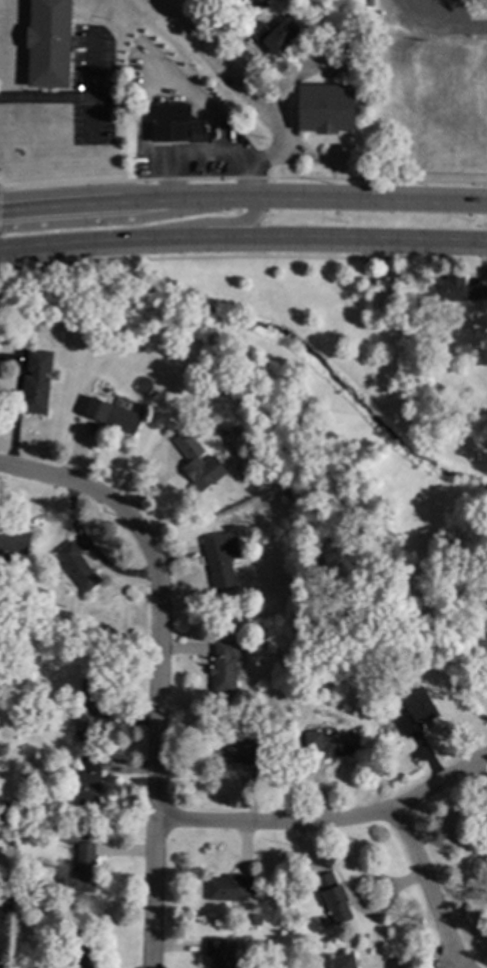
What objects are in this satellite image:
building: (258, 3)
road: (467, 19)
road: (431, 32)
building: (273, 35)
building: (47, 44)
road: (224, 70)
parking lot: (91, 86)
road: (91, 86)
road: (45, 98)
road: (193, 98)
building: (326, 109)
building: (174, 124)
road: (190, 158)
road: (251, 162)
road: (243, 178)
road: (243, 200)
road: (200, 223)
road: (243, 239)
building: (368, 288)
building: (456, 290)
building: (74, 313)
building: (108, 335)
building: (36, 383)
building: (117, 418)
park: (320, 419)
building: (196, 465)
building: (286, 495)
building: (14, 541)
building: (221, 559)
building: (77, 566)
building: (485, 596)
building: (482, 652)
building: (225, 666)
road: (157, 667)
building: (9, 668)
building: (88, 702)
building: (416, 712)
building: (332, 744)
building: (238, 751)
building: (89, 782)
road: (326, 824)
building: (485, 827)
building: (68, 836)
building: (81, 870)
building: (230, 888)
building: (304, 888)
road: (428, 889)
building: (334, 897)
building: (8, 908)
building: (23, 919)
building: (257, 920)
building: (76, 949)
building: (220, 952)
building: (343, 961)

